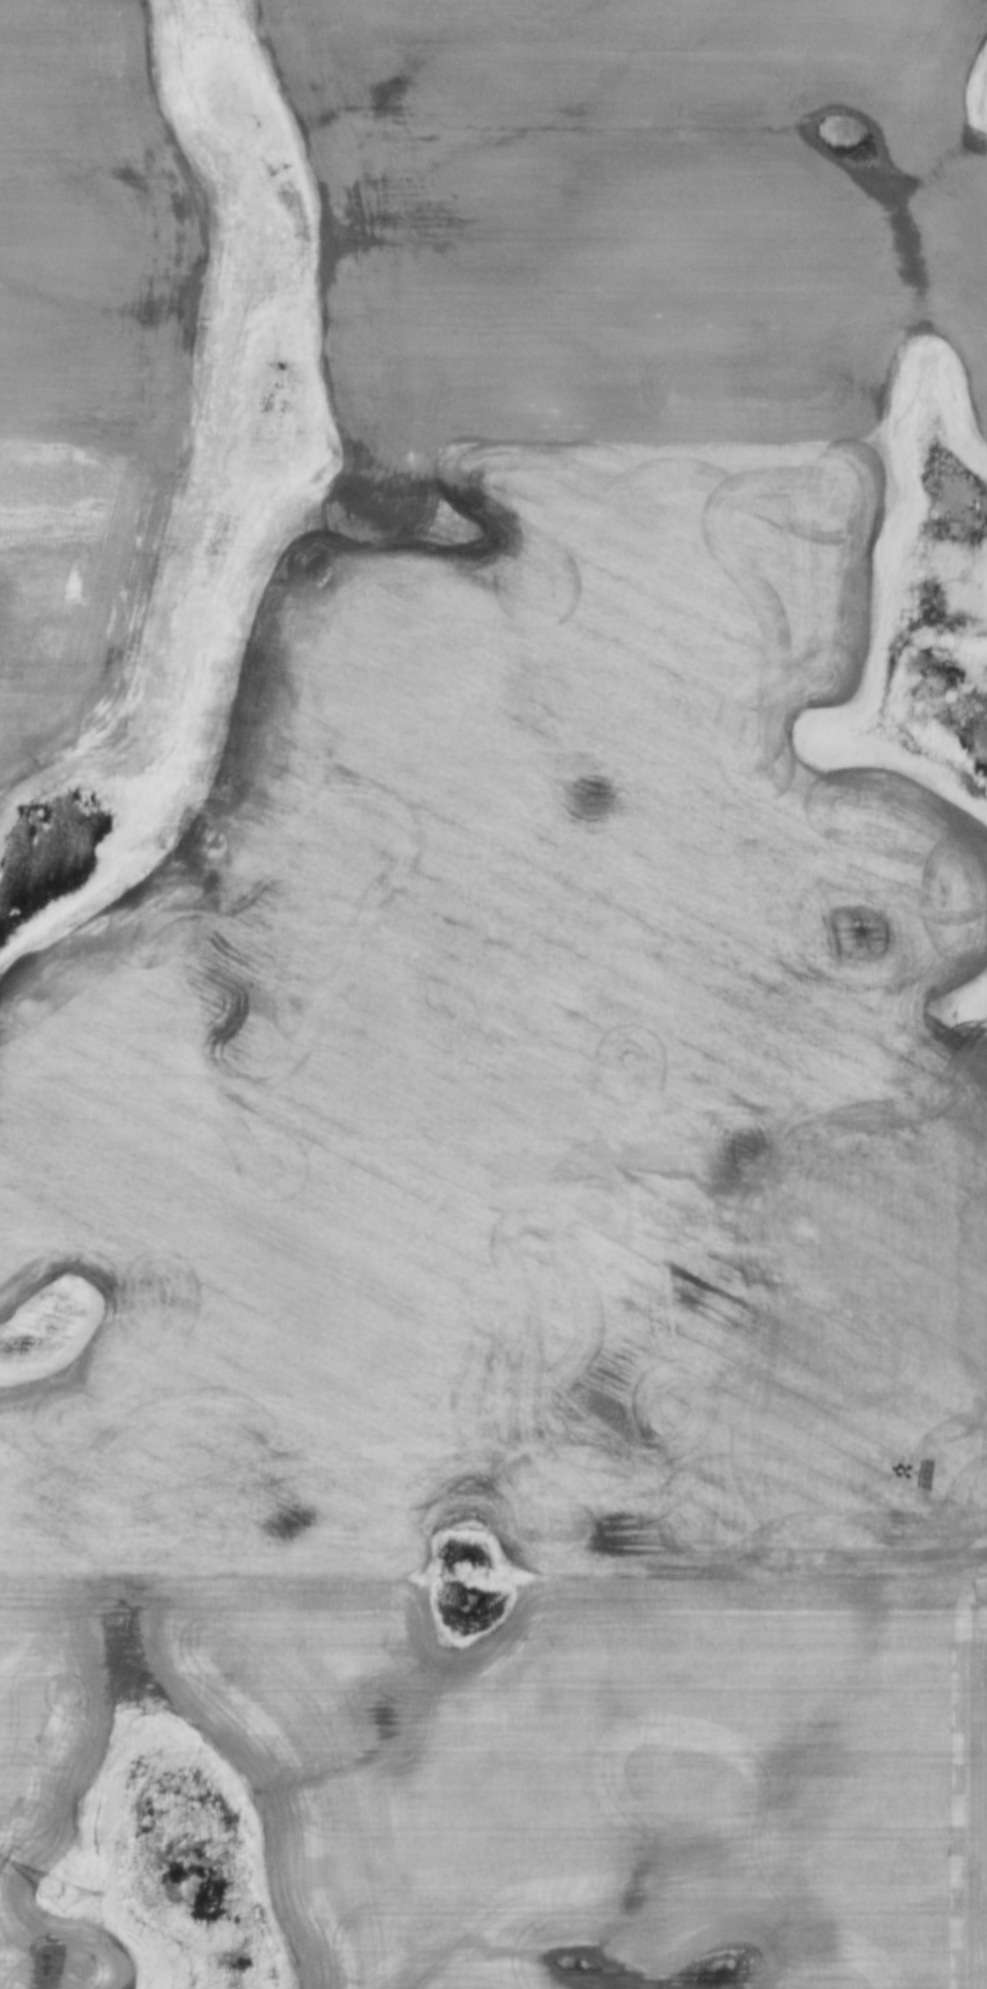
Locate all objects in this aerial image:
power tower: (59, 1896)

